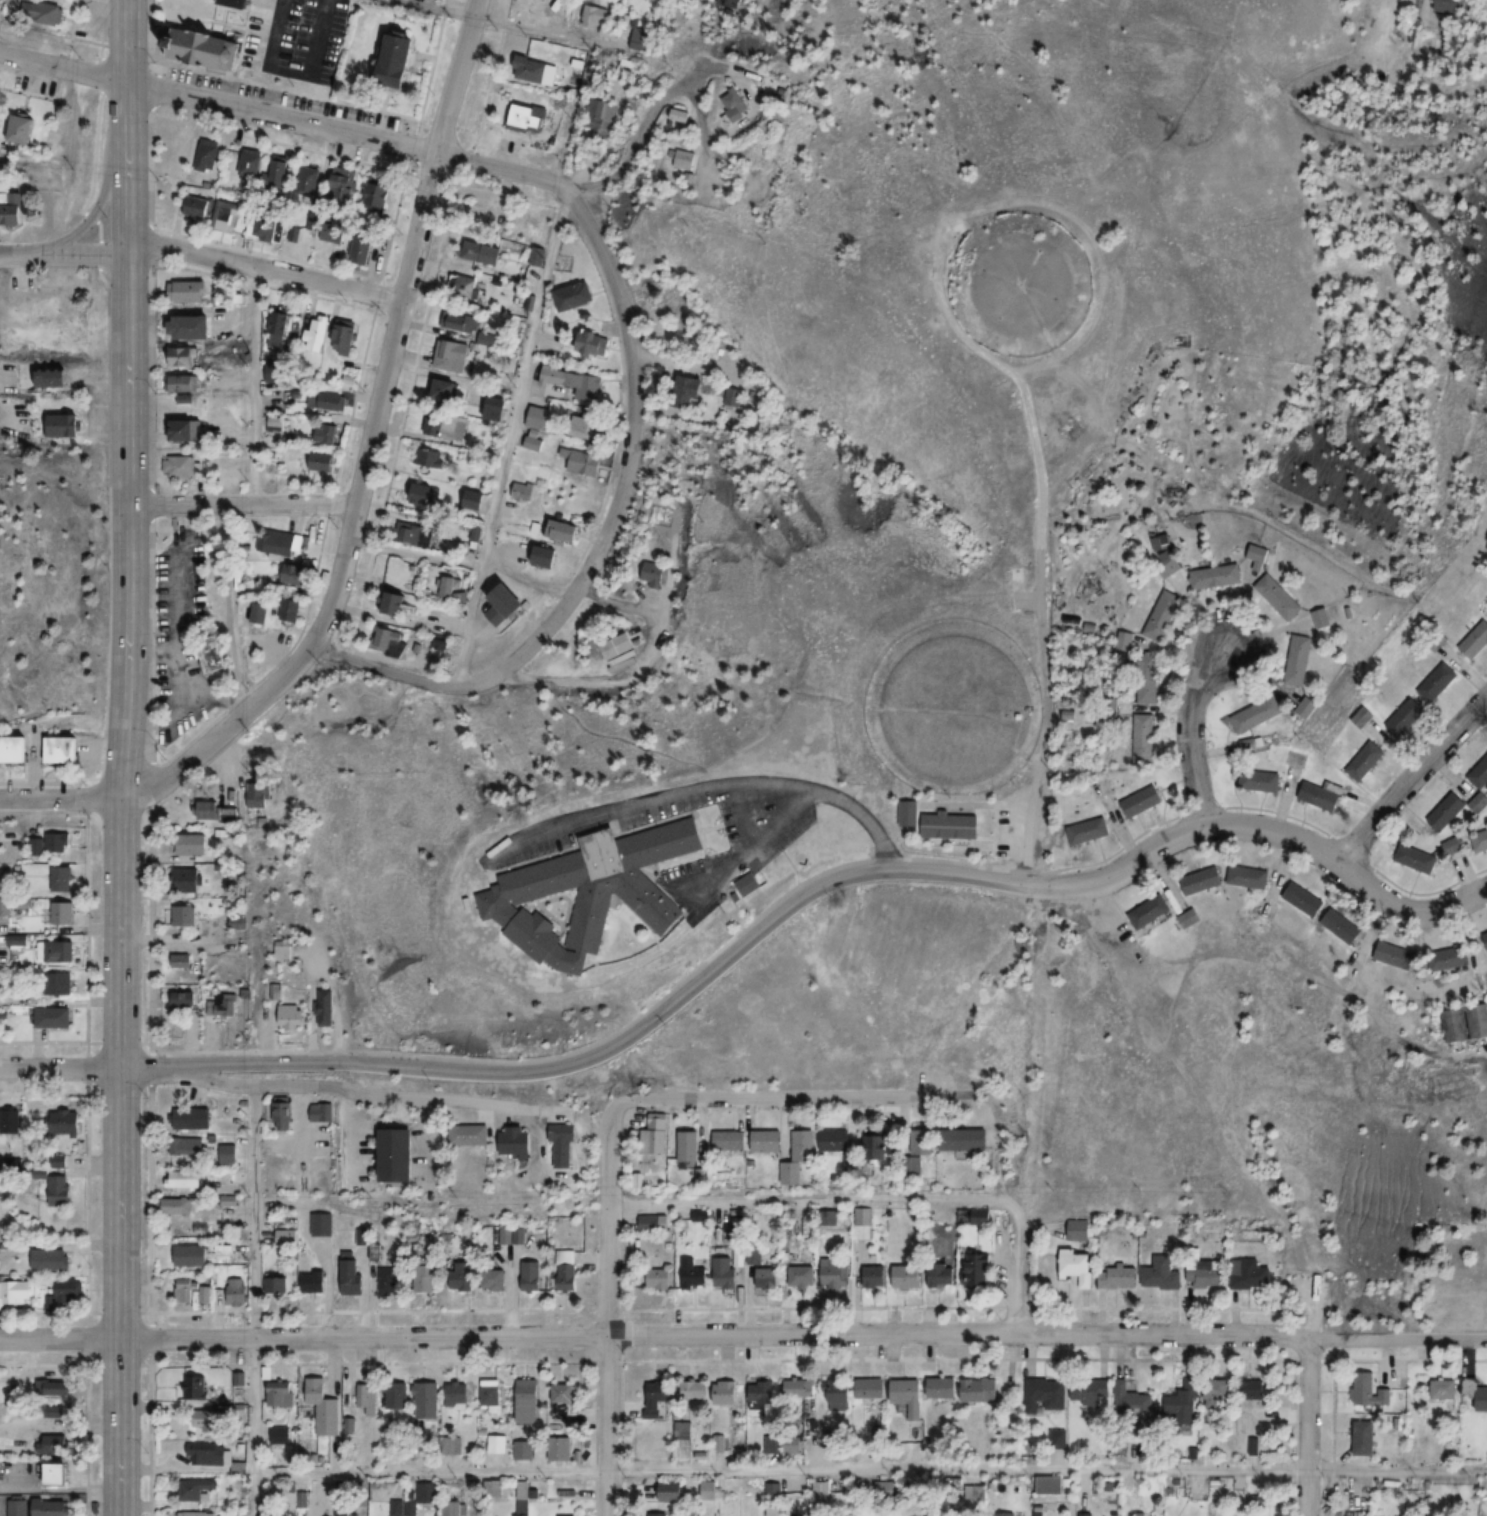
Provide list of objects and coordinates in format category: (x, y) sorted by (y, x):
building: (728, 3)
building: (0, 4)
building: (1444, 6)
building: (43, 11)
building: (593, 16)
road: (198, 18)
road: (169, 23)
road: (502, 24)
road: (197, 25)
road: (228, 32)
road: (244, 33)
building: (638, 35)
parking lot: (294, 37)
building: (198, 47)
road: (152, 56)
building: (402, 57)
building: (534, 71)
road: (295, 89)
parking lot: (283, 95)
building: (733, 105)
building: (526, 116)
building: (598, 117)
building: (677, 117)
road: (284, 118)
building: (21, 128)
road: (125, 128)
building: (206, 151)
building: (683, 159)
building: (249, 165)
road: (621, 165)
building: (279, 169)
building: (309, 180)
building: (341, 184)
building: (376, 191)
building: (14, 207)
building: (210, 210)
building: (484, 215)
road: (90, 216)
building: (263, 227)
building: (332, 232)
building: (361, 249)
building: (481, 251)
road: (62, 257)
road: (263, 268)
building: (467, 288)
building: (188, 291)
building: (674, 292)
building: (455, 321)
building: (278, 326)
building: (193, 327)
building: (316, 333)
building: (344, 337)
building: (485, 338)
building: (587, 345)
building: (182, 355)
building: (450, 355)
building: (53, 376)
building: (573, 382)
building: (174, 384)
road: (250, 385)
building: (447, 392)
building: (686, 392)
building: (330, 403)
building: (494, 408)
building: (536, 418)
building: (430, 423)
building: (61, 425)
building: (581, 427)
building: (452, 429)
building: (184, 430)
building: (324, 432)
road: (507, 439)
building: (530, 443)
road: (368, 444)
building: (425, 455)
building: (320, 461)
building: (579, 462)
building: (181, 466)
building: (520, 491)
building: (419, 493)
building: (472, 498)
road: (241, 505)
building: (661, 511)
building: (534, 527)
building: (559, 530)
building: (412, 533)
road: (598, 541)
building: (276, 542)
road: (414, 551)
building: (540, 555)
building: (1170, 558)
building: (293, 573)
building: (652, 575)
building: (1215, 576)
road: (525, 579)
building: (445, 586)
building: (1279, 597)
building: (387, 602)
building: (505, 604)
building: (257, 611)
building: (287, 611)
building: (1161, 615)
building: (1321, 618)
building: (1475, 640)
building: (389, 642)
building: (1123, 642)
building: (616, 645)
building: (213, 655)
building: (1297, 660)
road: (127, 662)
building: (1142, 664)
building: (1436, 683)
building: (1145, 694)
building: (1305, 707)
building: (1255, 714)
building: (1362, 717)
building: (1405, 717)
road: (1192, 732)
building: (1142, 739)
building: (1246, 745)
building: (16, 749)
building: (65, 749)
road: (150, 757)
building: (1287, 757)
building: (1364, 761)
building: (1479, 774)
road: (1413, 779)
building: (1258, 781)
building: (1101, 788)
building: (255, 792)
building: (1323, 795)
road: (60, 798)
building: (1141, 802)
building: (1479, 803)
road: (845, 809)
building: (208, 811)
building: (1447, 811)
building: (910, 813)
building: (951, 826)
building: (1087, 831)
road: (1177, 836)
building: (60, 839)
building: (1480, 842)
building: (190, 843)
building: (1454, 846)
building: (36, 848)
building: (1415, 859)
building: (1248, 877)
building: (62, 878)
building: (185, 880)
building: (1202, 880)
building: (751, 884)
building: (591, 893)
building: (1303, 899)
building: (5, 905)
road: (1408, 907)
building: (1149, 911)
building: (1268, 911)
building: (59, 913)
building: (181, 915)
building: (1189, 918)
building: (1341, 926)
building: (1485, 935)
building: (283, 950)
building: (55, 951)
building: (1395, 955)
building: (1451, 958)
building: (181, 961)
building: (1481, 980)
building: (59, 984)
building: (273, 991)
building: (183, 1002)
building: (218, 1004)
building: (327, 1006)
building: (291, 1016)
building: (53, 1018)
building: (1468, 1023)
road: (597, 1056)
road: (59, 1066)
road: (355, 1092)
road: (790, 1097)
building: (317, 1112)
building: (279, 1114)
building: (192, 1116)
building: (10, 1120)
building: (68, 1122)
building: (658, 1133)
building: (469, 1135)
building: (966, 1139)
building: (839, 1140)
building: (918, 1140)
building: (729, 1141)
building: (768, 1141)
building: (518, 1143)
building: (878, 1145)
building: (188, 1146)
building: (563, 1146)
building: (690, 1146)
building: (229, 1153)
building: (398, 1156)
building: (799, 1157)
building: (12, 1163)
building: (184, 1179)
building: (59, 1191)
road: (805, 1201)
building: (175, 1206)
road: (1010, 1207)
building: (5, 1214)
building: (979, 1216)
building: (862, 1217)
building: (320, 1221)
building: (653, 1223)
building: (1078, 1230)
building: (285, 1236)
building: (191, 1256)
building: (1076, 1266)
building: (566, 1270)
building: (726, 1270)
building: (971, 1270)
building: (834, 1272)
building: (692, 1273)
building: (1207, 1274)
building: (530, 1275)
building: (905, 1275)
building: (941, 1275)
building: (1117, 1275)
building: (1161, 1275)
building: (1250, 1275)
building: (352, 1276)
building: (463, 1276)
building: (801, 1276)
building: (872, 1276)
building: (497, 1277)
building: (768, 1277)
building: (390, 1278)
building: (426, 1278)
building: (659, 1278)
road: (254, 1280)
building: (313, 1281)
building: (275, 1284)
building: (67, 1290)
building: (187, 1290)
road: (119, 1291)
building: (15, 1292)
building: (234, 1294)
road: (608, 1309)
road: (743, 1334)
building: (192, 1387)
building: (53, 1388)
building: (805, 1388)
building: (871, 1388)
building: (942, 1388)
building: (1442, 1389)
building: (696, 1390)
building: (979, 1390)
building: (1254, 1390)
building: (727, 1392)
building: (765, 1392)
building: (564, 1393)
building: (1090, 1393)
building: (1217, 1393)
building: (1475, 1393)
building: (279, 1394)
building: (491, 1394)
building: (837, 1394)
building: (1371, 1394)
building: (397, 1395)
building: (1047, 1395)
building: (457, 1396)
building: (908, 1396)
building: (657, 1397)
building: (366, 1398)
building: (428, 1400)
building: (528, 1401)
building: (1184, 1402)
building: (1135, 1403)
building: (326, 1411)
building: (207, 1421)
road: (1305, 1427)
building: (683, 1430)
building: (834, 1437)
building: (1364, 1440)
building: (716, 1443)
building: (496, 1444)
building: (770, 1444)
building: (792, 1444)
building: (54, 1445)
building: (1254, 1447)
building: (559, 1449)
building: (523, 1450)
building: (206, 1454)
road: (870, 1472)
building: (56, 1475)
building: (1051, 1485)
building: (493, 1489)
building: (197, 1490)
building: (707, 1490)
building: (883, 1490)
building: (821, 1491)
building: (670, 1492)
building: (427, 1493)
road: (254, 1496)
building: (521, 1498)
building: (341, 1505)
building: (18, 1507)
building: (49, 1508)
building: (400, 1508)
building: (452, 1508)
building: (192, 1514)
building: (785, 1515)
building: (1013, 1515)

